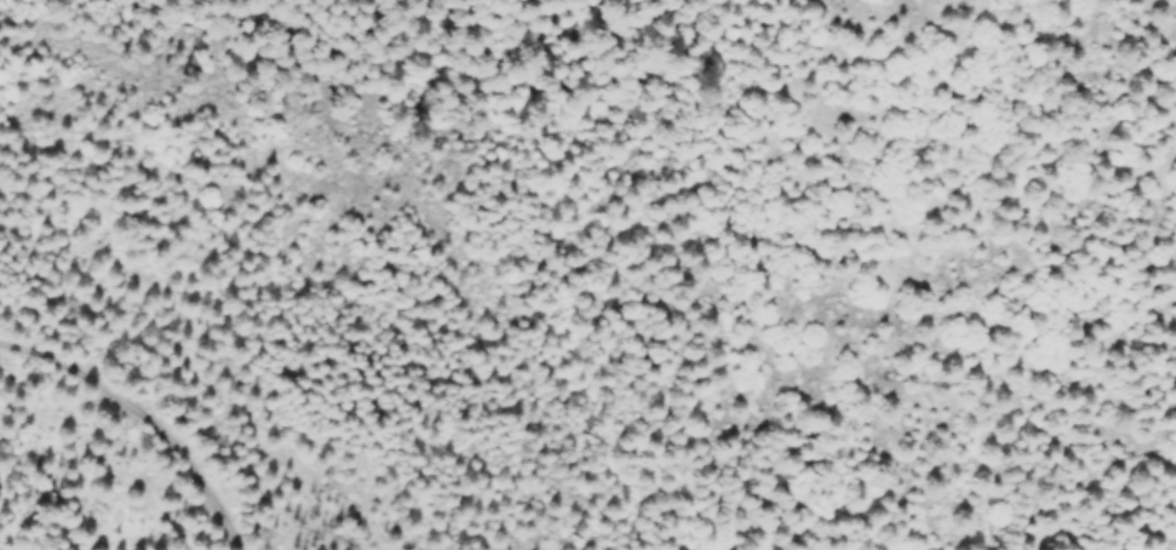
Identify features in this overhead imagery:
road: (147, 422)

